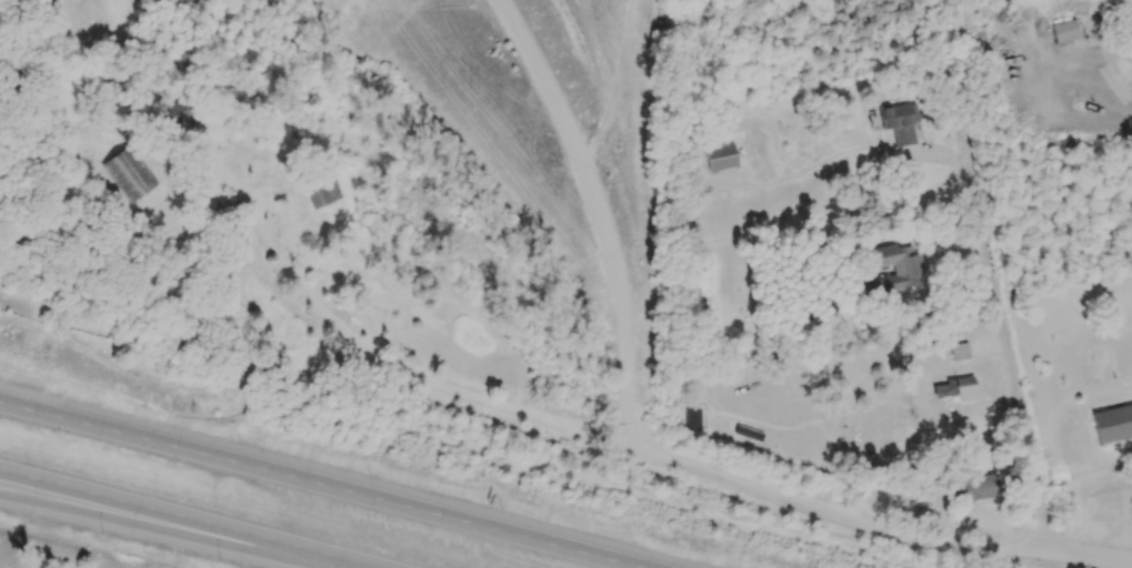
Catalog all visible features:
building: (1065, 31)
building: (900, 122)
building: (720, 156)
building: (322, 191)
road: (934, 210)
building: (895, 266)
road: (1010, 345)
building: (959, 351)
road: (374, 353)
building: (958, 388)
street lamp: (103, 405)
building: (1113, 425)
street lamp: (238, 440)
street lamp: (368, 474)
road: (322, 485)
building: (975, 487)
street lamp: (492, 507)
road: (190, 518)
road: (861, 518)
road: (177, 530)
street lamp: (101, 536)
street lamp: (631, 541)
street lamp: (220, 560)

